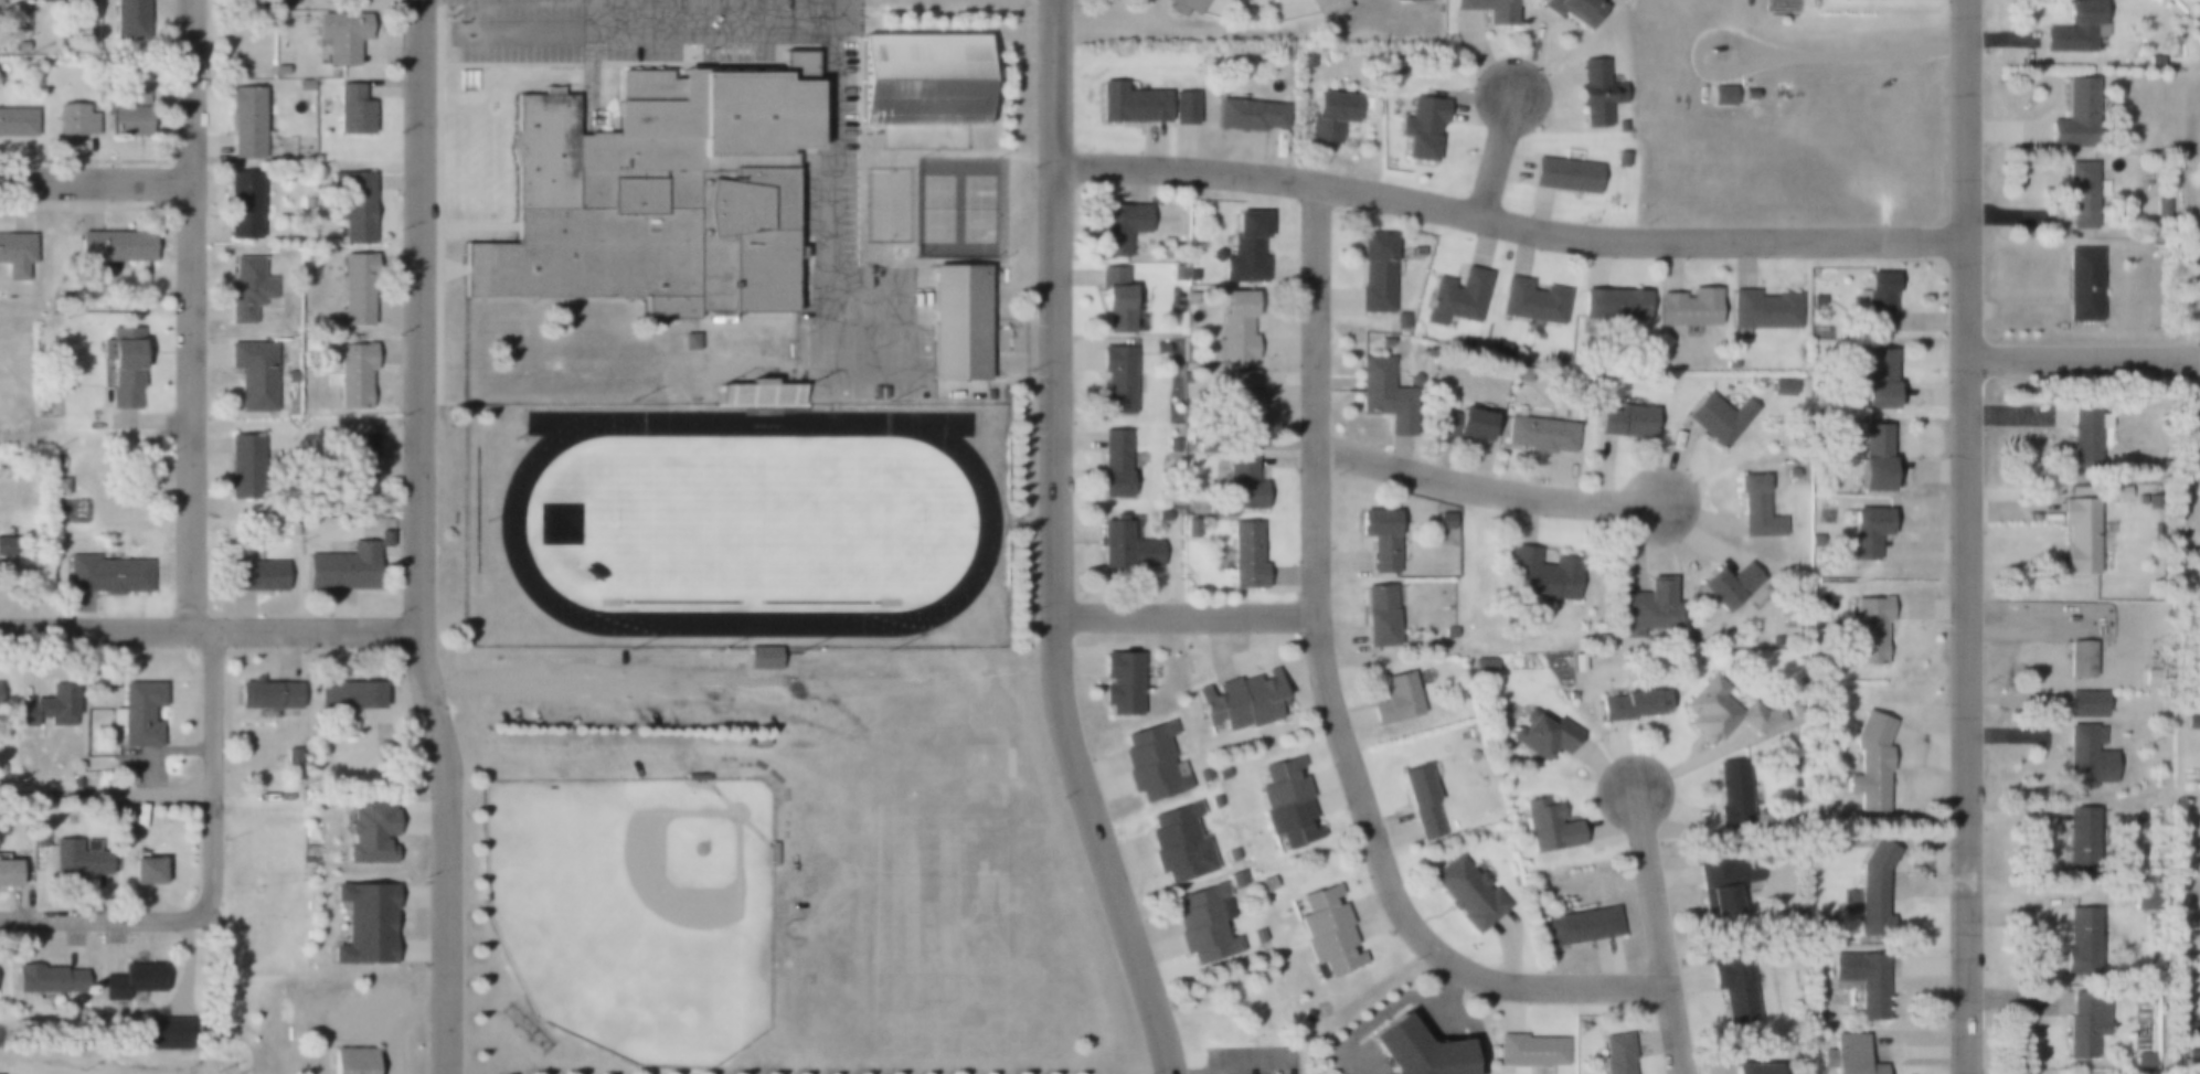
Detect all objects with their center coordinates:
building: (1412, 0)
building: (1, 2)
building: (64, 2)
building: (1330, 6)
building: (1188, 7)
building: (1486, 9)
building: (1572, 9)
building: (128, 21)
building: (2072, 26)
building: (340, 35)
building: (20, 46)
road: (1853, 55)
building: (2153, 61)
building: (924, 89)
building: (1594, 94)
building: (1747, 95)
building: (1720, 96)
building: (1129, 103)
building: (1182, 107)
building: (129, 113)
building: (351, 113)
building: (1245, 115)
building: (1328, 115)
building: (2074, 116)
building: (17, 120)
building: (75, 120)
building: (244, 121)
building: (1618, 127)
building: (1423, 129)
road: (1496, 153)
building: (1563, 176)
road: (96, 182)
building: (2079, 193)
building: (658, 194)
building: (306, 203)
building: (2159, 203)
building: (241, 205)
park: (884, 206)
building: (355, 209)
park: (936, 209)
park: (977, 210)
road: (1507, 222)
building: (1119, 226)
building: (1162, 242)
building: (1243, 246)
building: (111, 248)
building: (2156, 248)
building: (1414, 252)
building: (17, 255)
building: (1176, 269)
building: (1374, 272)
building: (1190, 275)
building: (2082, 285)
building: (245, 288)
building: (355, 289)
parking lot: (861, 294)
building: (1454, 297)
building: (1190, 298)
building: (1531, 300)
building: (1816, 300)
building: (1115, 301)
building: (1877, 302)
building: (1613, 305)
building: (1688, 306)
building: (1762, 310)
road: (192, 315)
building: (1399, 321)
building: (960, 323)
building: (1234, 329)
building: (1159, 347)
road: (2081, 360)
building: (121, 366)
building: (252, 373)
building: (1520, 373)
building: (288, 374)
building: (353, 374)
building: (1116, 378)
building: (757, 381)
building: (1875, 381)
building: (1779, 387)
building: (1381, 389)
building: (788, 395)
building: (1241, 404)
building: (1719, 416)
building: (1462, 421)
building: (1623, 422)
track: (564, 425)
track: (931, 426)
building: (1538, 433)
building: (2082, 440)
building: (1171, 446)
building: (1872, 456)
building: (355, 461)
building: (241, 466)
building: (1114, 467)
building: (1242, 479)
building: (59, 486)
road: (1486, 491)
building: (2114, 492)
building: (1755, 507)
building: (1161, 515)
building: (1444, 521)
park: (763, 522)
track: (748, 525)
building: (291, 529)
building: (1189, 529)
building: (2079, 534)
road: (1963, 536)
building: (1379, 538)
building: (382, 539)
road: (417, 539)
building: (1868, 544)
road: (1055, 545)
building: (6, 546)
building: (1124, 546)
building: (1245, 557)
building: (342, 568)
building: (106, 573)
building: (254, 575)
building: (1543, 575)
building: (1732, 588)
building: (1650, 608)
road: (1186, 615)
building: (1378, 615)
building: (1867, 627)
road: (209, 630)
building: (1447, 632)
road: (289, 651)
building: (761, 658)
building: (2079, 659)
building: (1482, 664)
road: (648, 680)
building: (1120, 682)
building: (267, 694)
building: (347, 694)
road: (1330, 696)
building: (1243, 699)
building: (1395, 699)
building: (2084, 703)
building: (1634, 704)
building: (49, 708)
building: (1726, 709)
park: (995, 710)
building: (139, 714)
building: (2191, 721)
building: (1543, 734)
building: (758, 738)
road: (158, 752)
building: (1469, 755)
building: (2084, 756)
building: (290, 757)
building: (1152, 758)
building: (1870, 762)
park: (989, 764)
building: (2, 768)
road: (212, 769)
building: (694, 776)
building: (1731, 793)
road: (105, 795)
building: (1286, 799)
building: (1420, 802)
building: (1547, 827)
building: (369, 832)
building: (1179, 842)
building: (2079, 842)
building: (772, 853)
building: (77, 859)
building: (144, 871)
building: (9, 874)
building: (1728, 882)
building: (1871, 889)
building: (1467, 893)
building: (2138, 894)
park: (636, 912)
road: (104, 921)
building: (364, 923)
building: (1204, 923)
building: (1579, 926)
building: (1328, 928)
road: (1656, 931)
building: (2077, 942)
building: (47, 980)
building: (1862, 980)
building: (132, 981)
building: (1733, 986)
building: (2143, 996)
building: (2084, 1024)
building: (2192, 1027)
building: (169, 1034)
building: (1528, 1049)
building: (1412, 1051)
building: (1618, 1053)
building: (1848, 1055)
building: (2192, 1056)
building: (351, 1061)
building: (2143, 1062)

